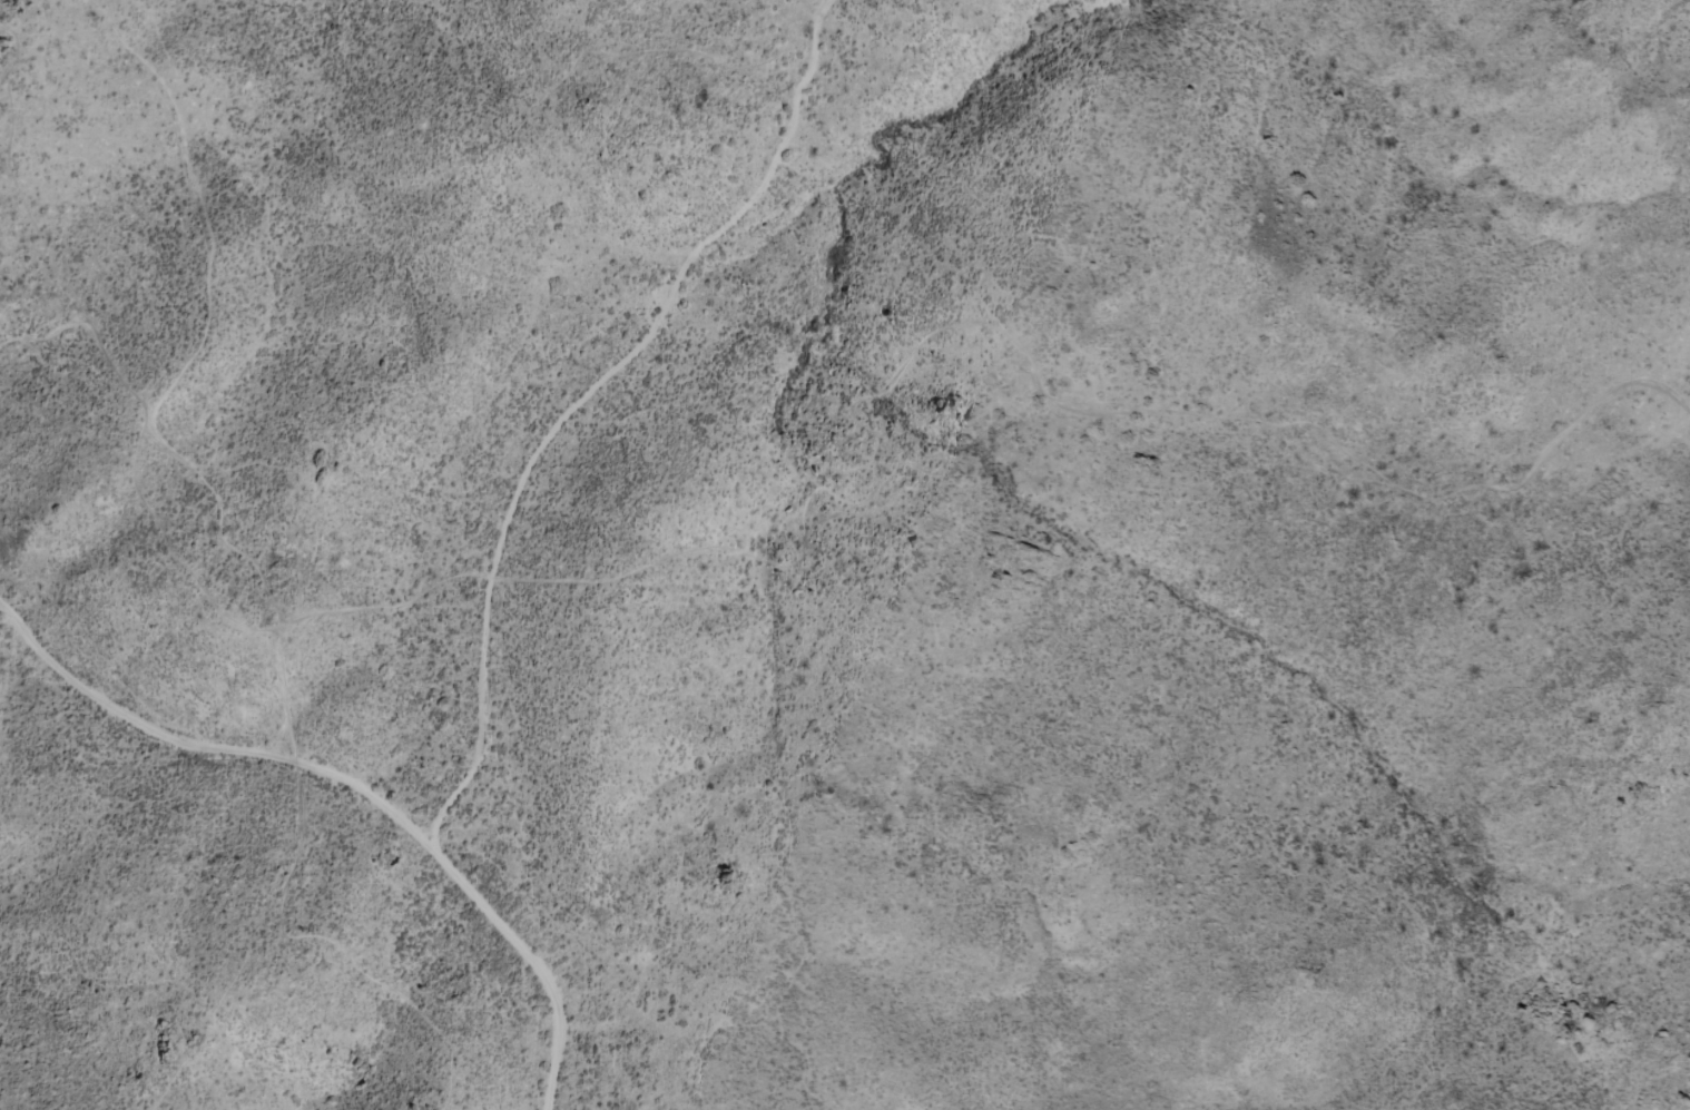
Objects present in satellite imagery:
road: (603, 381)
road: (385, 766)

